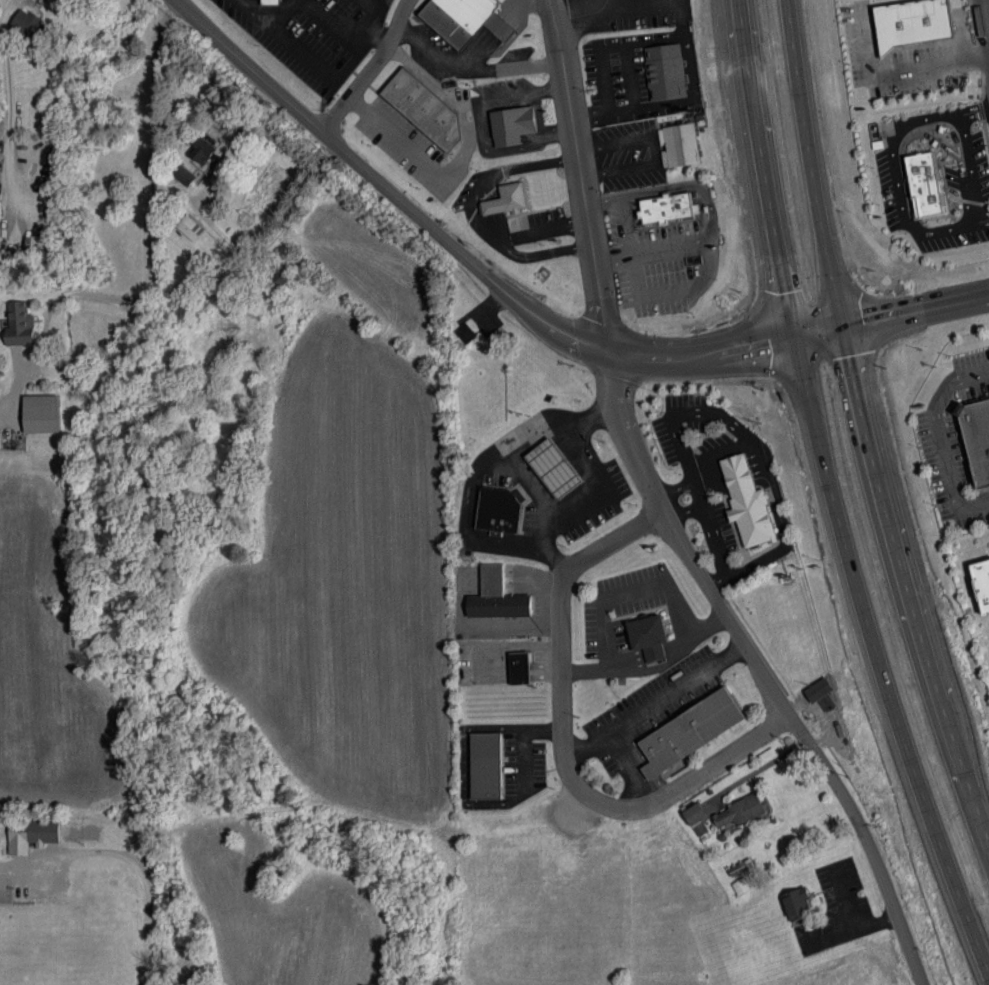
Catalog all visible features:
building: (271, 2)
road: (605, 3)
road: (543, 6)
road: (605, 7)
road: (514, 9)
road: (248, 10)
road: (280, 12)
building: (465, 19)
building: (910, 21)
road: (984, 23)
building: (32, 27)
road: (500, 27)
road: (337, 29)
road: (422, 42)
road: (477, 50)
parking lot: (903, 53)
road: (978, 56)
road: (526, 64)
road: (470, 66)
road: (368, 67)
road: (884, 68)
building: (665, 72)
road: (451, 96)
road: (684, 103)
building: (424, 108)
road: (973, 111)
road: (944, 124)
road: (480, 125)
building: (512, 125)
road: (903, 138)
road: (398, 139)
building: (680, 144)
road: (653, 149)
building: (205, 151)
road: (813, 160)
road: (966, 165)
road: (577, 169)
building: (184, 175)
road: (895, 181)
building: (923, 184)
road: (674, 186)
building: (506, 200)
building: (666, 207)
road: (475, 214)
road: (983, 219)
building: (190, 227)
road: (151, 229)
road: (540, 232)
road: (642, 251)
road: (472, 260)
road: (916, 307)
building: (20, 324)
building: (466, 333)
building: (42, 413)
road: (595, 421)
building: (976, 437)
road: (938, 438)
road: (678, 452)
road: (581, 454)
road: (486, 465)
building: (554, 468)
road: (673, 487)
road: (832, 493)
building: (748, 501)
building: (499, 509)
road: (684, 512)
road: (564, 518)
road: (781, 534)
road: (502, 549)
road: (551, 550)
road: (907, 577)
building: (982, 582)
road: (624, 593)
building: (497, 596)
building: (650, 636)
road: (759, 665)
building: (521, 668)
building: (819, 689)
road: (653, 701)
building: (827, 702)
road: (541, 726)
building: (690, 731)
road: (559, 741)
building: (486, 765)
road: (465, 796)
building: (740, 811)
building: (695, 813)
building: (701, 828)
building: (32, 834)
road: (151, 884)
building: (798, 903)

